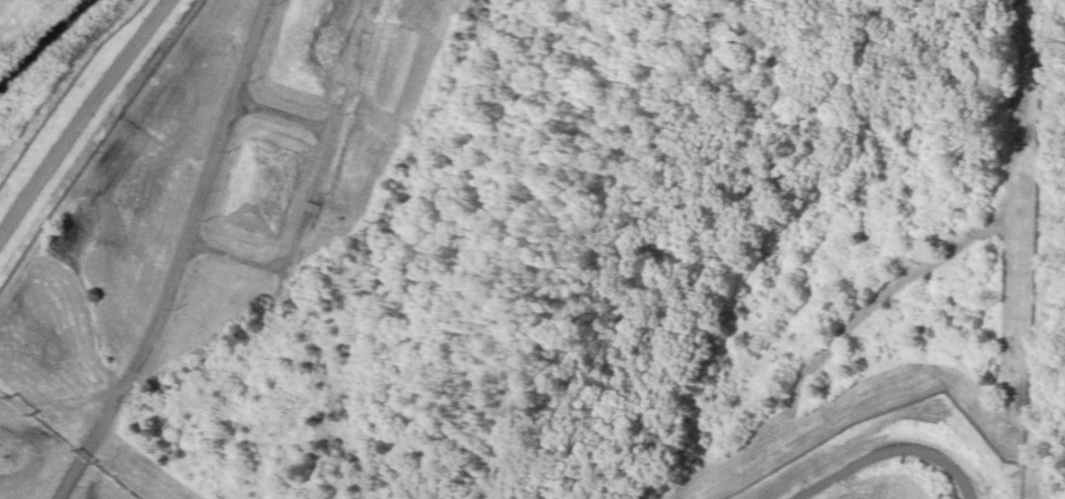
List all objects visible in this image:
road: (889, 451)

